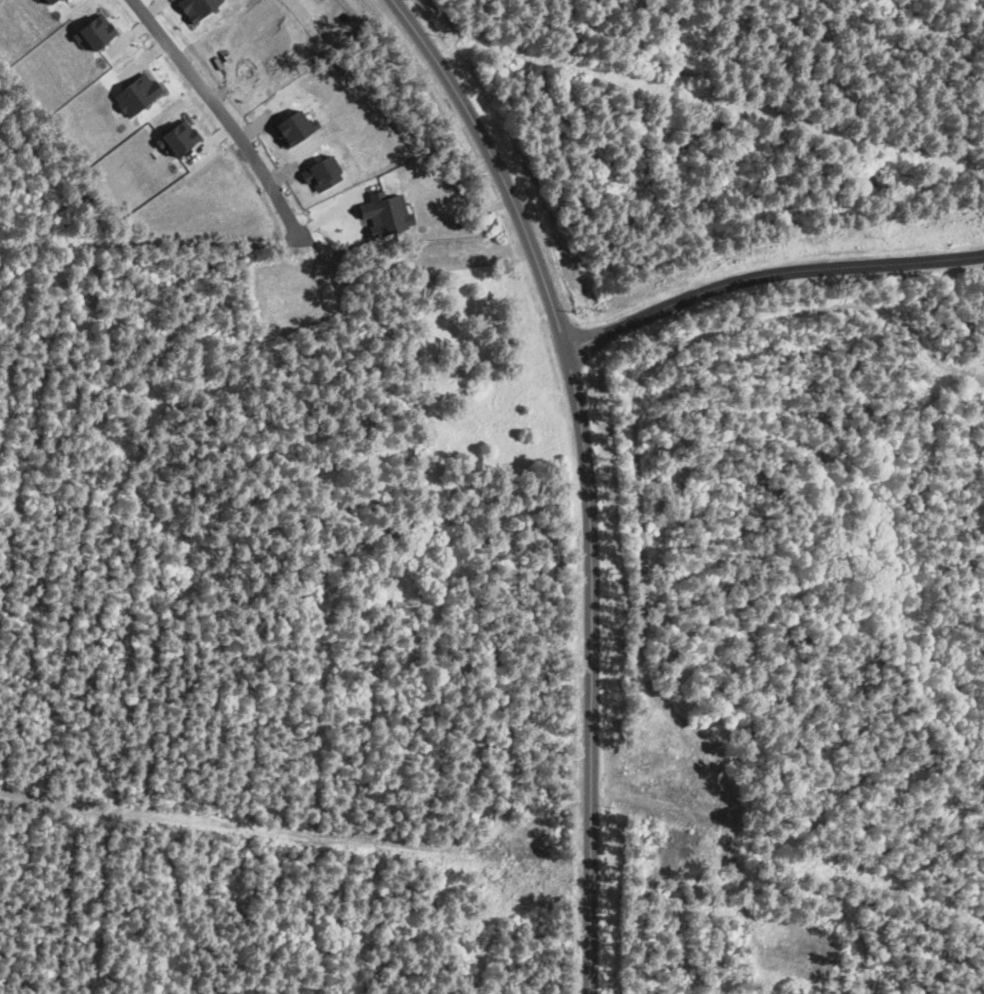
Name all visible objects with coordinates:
road: (219, 111)
road: (767, 272)
road: (586, 473)

